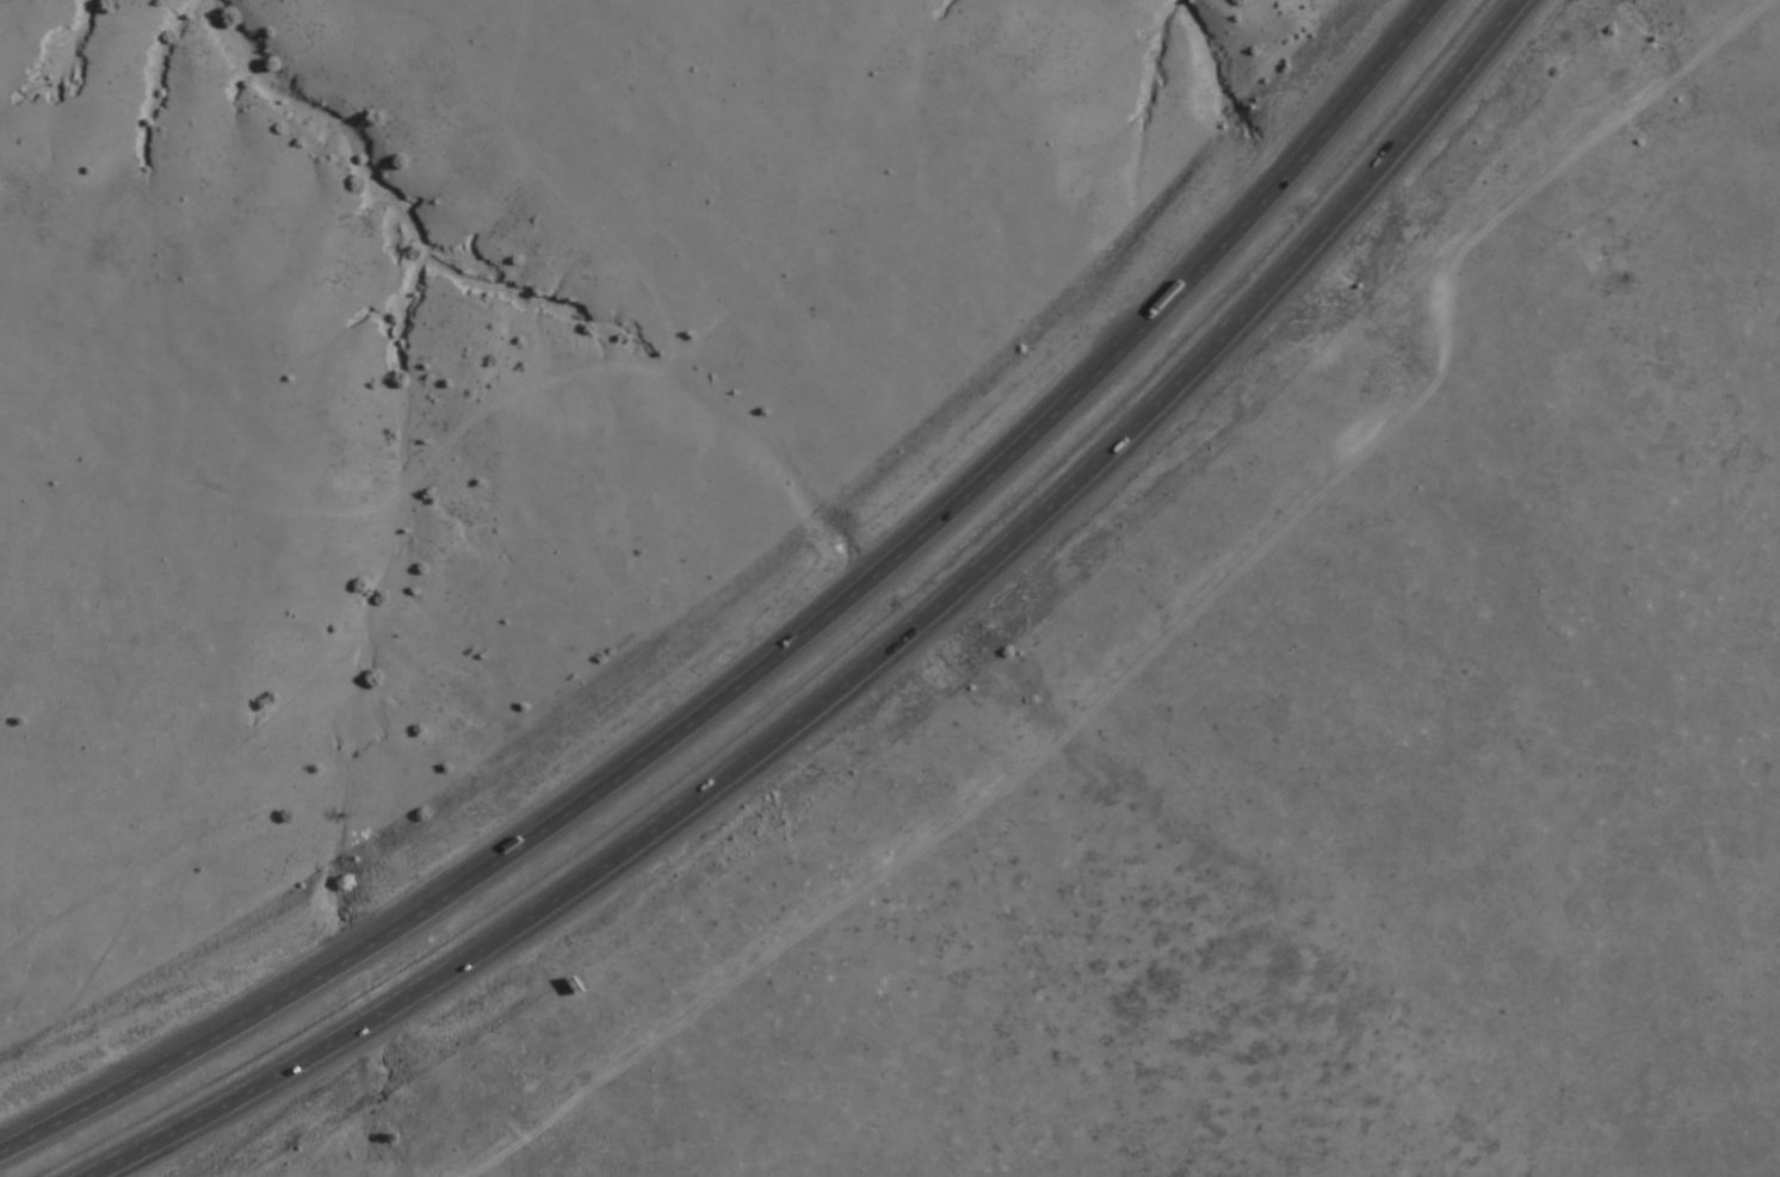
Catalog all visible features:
road: (778, 657)
road: (865, 663)

